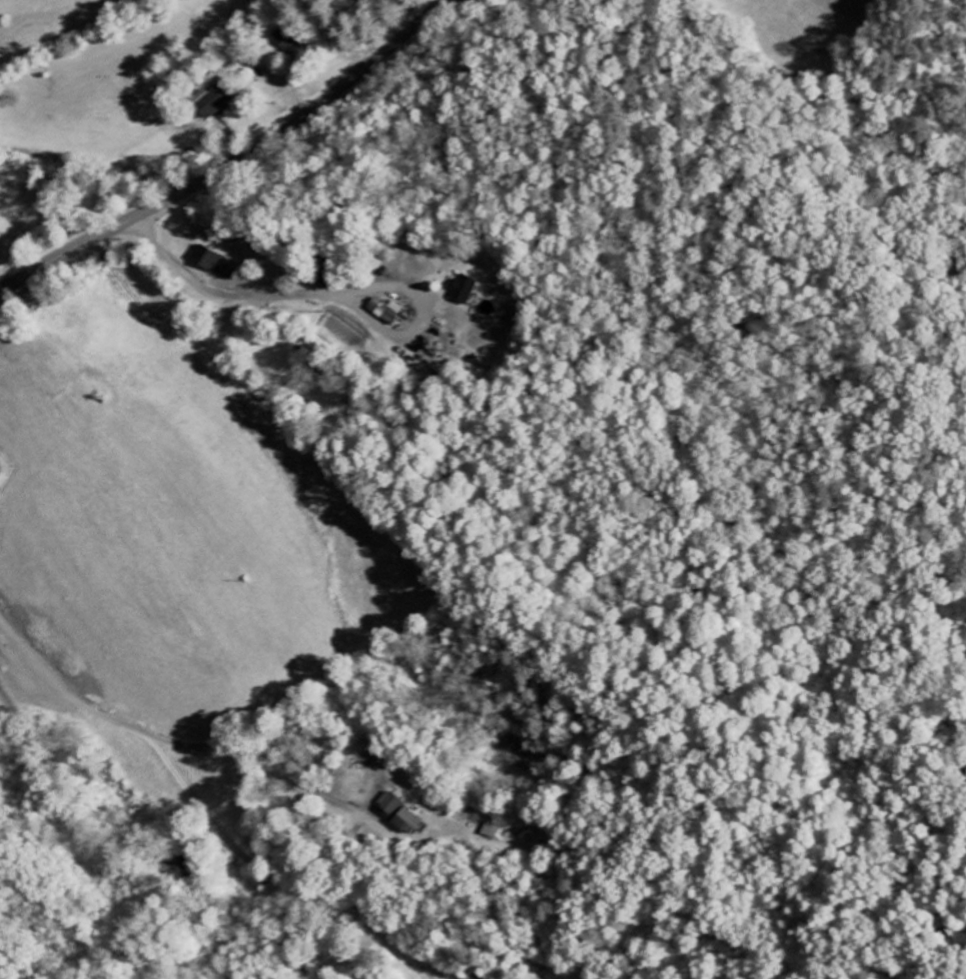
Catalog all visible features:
road: (777, 26)
road: (336, 32)
building: (287, 39)
building: (214, 101)
road: (233, 162)
building: (215, 263)
building: (463, 290)
road: (331, 292)
building: (388, 312)
road: (158, 736)
building: (402, 814)
building: (494, 830)
road: (296, 884)

